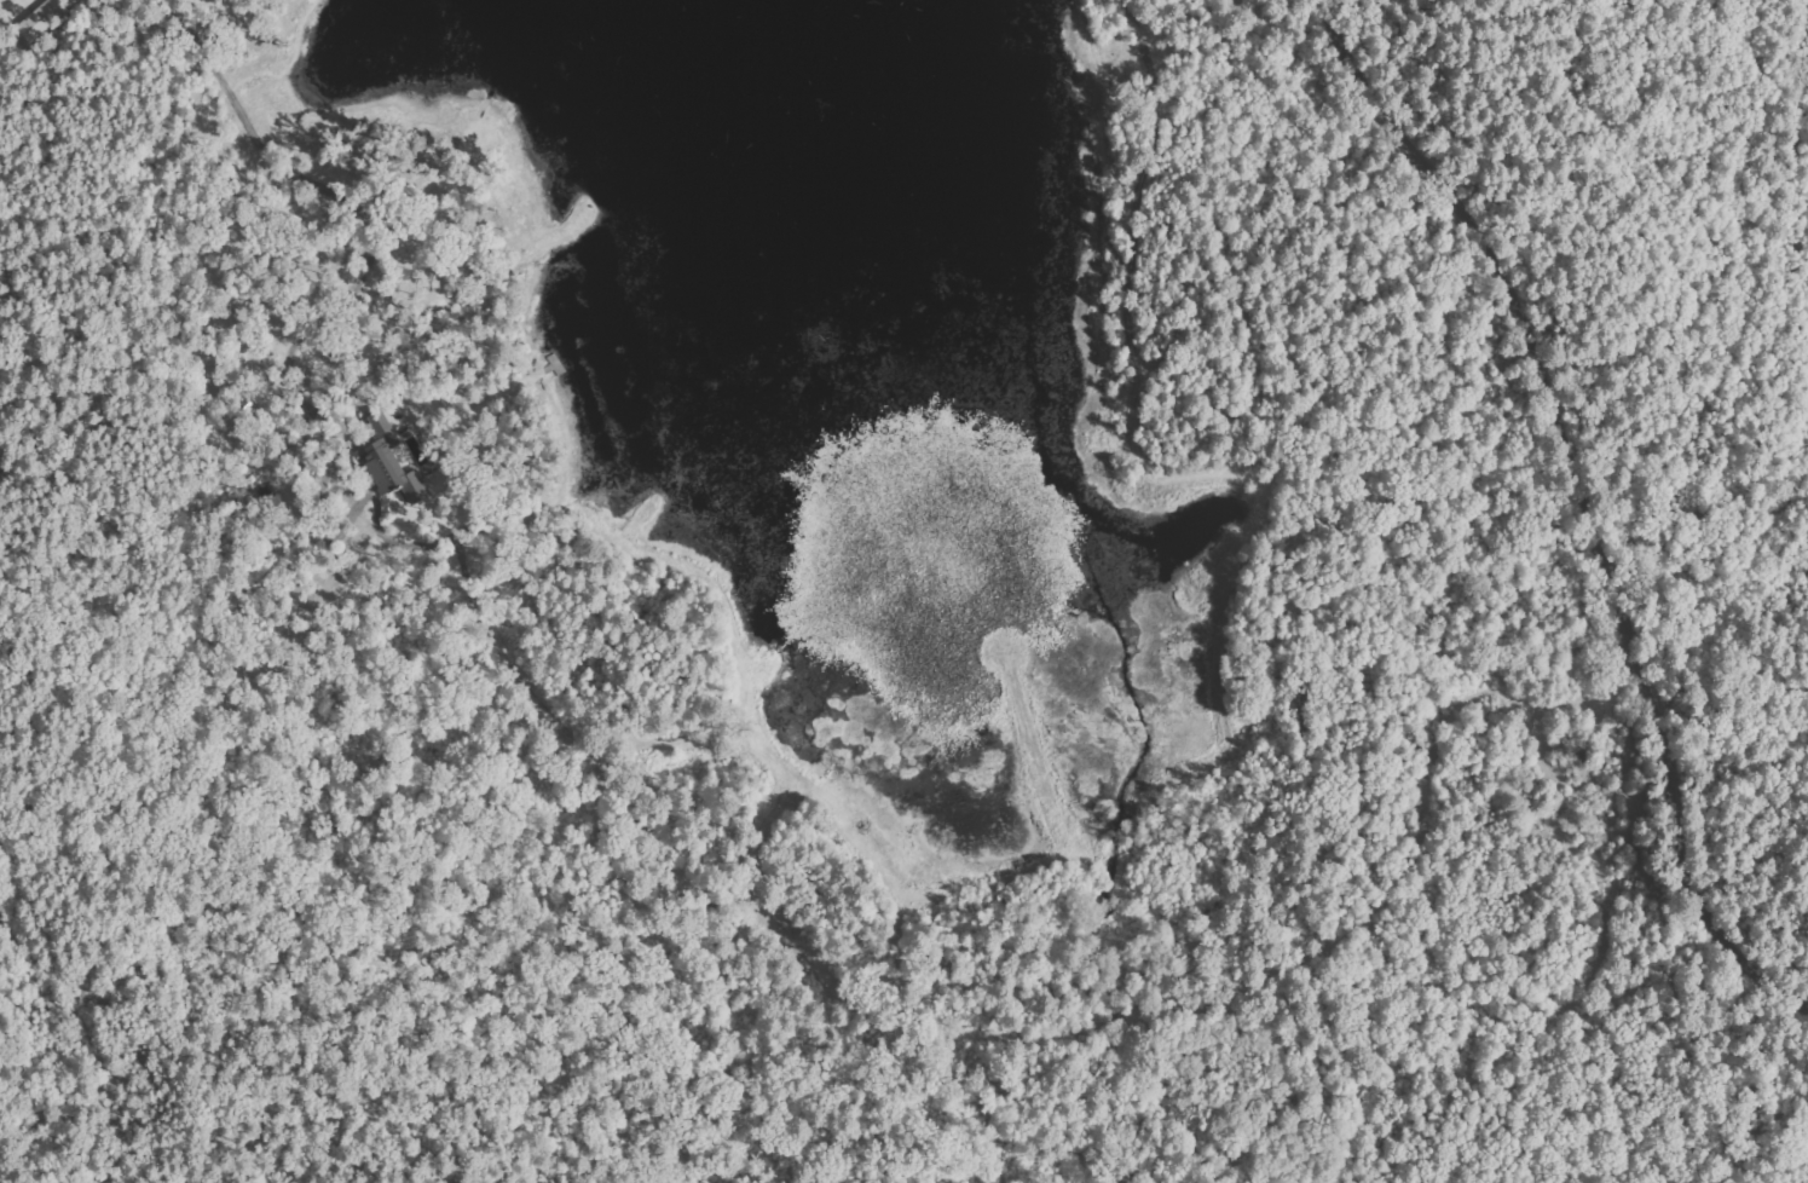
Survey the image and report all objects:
building: (41, 18)
building: (393, 462)
road: (1589, 498)

